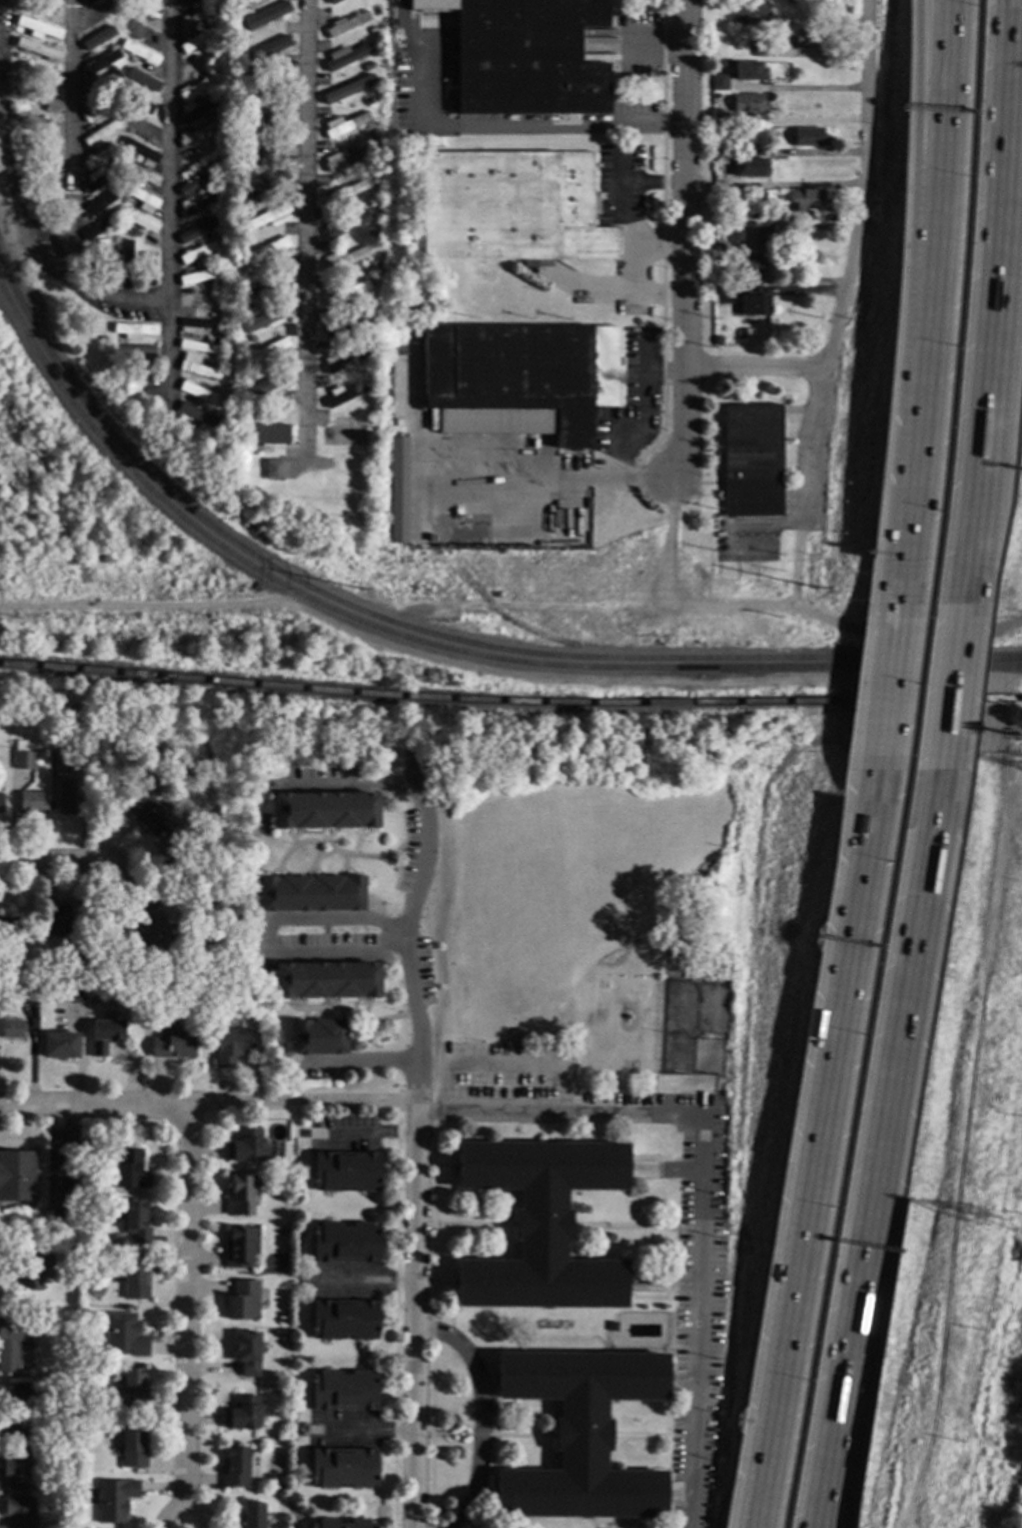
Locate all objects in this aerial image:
building: (111, 0)
building: (152, 0)
building: (243, 0)
building: (88, 1)
building: (186, 2)
building: (207, 2)
building: (331, 2)
building: (367, 2)
building: (791, 2)
building: (245, 5)
building: (39, 6)
building: (748, 8)
building: (125, 9)
building: (143, 11)
building: (101, 14)
building: (265, 16)
building: (114, 18)
building: (196, 18)
road: (1011, 18)
road: (1016, 18)
building: (207, 22)
building: (346, 24)
building: (38, 27)
building: (17, 31)
building: (372, 31)
building: (142, 33)
building: (130, 35)
building: (100, 36)
building: (244, 38)
building: (198, 39)
building: (809, 39)
building: (112, 46)
building: (211, 46)
building: (761, 46)
building: (38, 50)
building: (268, 50)
building: (139, 53)
building: (17, 56)
building: (345, 56)
building: (524, 56)
building: (131, 61)
building: (196, 62)
building: (100, 63)
building: (366, 67)
building: (112, 68)
building: (246, 71)
building: (749, 72)
building: (202, 74)
building: (37, 75)
building: (139, 77)
building: (719, 82)
building: (124, 83)
building: (266, 83)
building: (100, 84)
building: (197, 88)
building: (13, 91)
building: (216, 91)
building: (343, 93)
building: (714, 97)
building: (40, 100)
road: (940, 100)
building: (368, 101)
road: (913, 101)
building: (748, 103)
building: (143, 104)
building: (97, 109)
building: (195, 110)
building: (213, 113)
building: (111, 116)
building: (267, 118)
building: (718, 121)
building: (36, 123)
building: (344, 125)
building: (139, 126)
road: (549, 129)
building: (124, 130)
building: (100, 133)
building: (369, 134)
building: (196, 135)
building: (808, 137)
building: (243, 138)
road: (71, 140)
building: (210, 141)
building: (102, 144)
building: (33, 147)
building: (721, 150)
building: (737, 150)
building: (762, 150)
building: (268, 151)
building: (140, 152)
building: (99, 156)
building: (126, 156)
building: (198, 158)
building: (343, 158)
building: (111, 162)
building: (370, 167)
building: (745, 167)
building: (38, 171)
building: (139, 173)
building: (242, 173)
building: (121, 174)
building: (99, 177)
building: (268, 184)
building: (195, 185)
building: (110, 186)
building: (346, 192)
building: (42, 196)
building: (760, 196)
building: (140, 198)
building: (125, 200)
building: (807, 200)
building: (28, 202)
road: (170, 202)
building: (100, 203)
building: (370, 203)
building: (247, 204)
building: (195, 205)
building: (511, 208)
building: (105, 213)
building: (206, 215)
building: (753, 216)
building: (268, 218)
building: (138, 221)
building: (119, 224)
building: (344, 224)
building: (99, 227)
building: (198, 230)
building: (780, 230)
building: (369, 233)
building: (212, 234)
building: (751, 237)
building: (245, 239)
building: (116, 240)
road: (685, 243)
road: (304, 245)
building: (718, 248)
building: (91, 251)
building: (198, 251)
road: (35, 252)
building: (262, 252)
building: (215, 254)
building: (715, 258)
building: (342, 259)
building: (100, 260)
road: (849, 262)
building: (747, 264)
building: (123, 265)
building: (372, 265)
building: (149, 269)
road: (997, 270)
building: (200, 276)
building: (244, 276)
road: (927, 276)
building: (263, 284)
building: (343, 293)
building: (722, 296)
building: (196, 301)
building: (371, 301)
building: (364, 305)
building: (754, 306)
building: (266, 316)
building: (199, 325)
building: (342, 326)
building: (133, 330)
building: (367, 337)
building: (250, 338)
building: (716, 341)
building: (119, 342)
building: (198, 344)
building: (138, 351)
building: (264, 351)
building: (214, 360)
building: (344, 360)
road: (754, 369)
building: (197, 370)
building: (362, 374)
building: (519, 379)
building: (266, 386)
building: (196, 391)
building: (345, 395)
building: (224, 400)
road: (643, 408)
building: (252, 412)
building: (200, 415)
building: (226, 420)
building: (266, 434)
building: (750, 461)
building: (272, 470)
road: (578, 478)
road: (907, 478)
road: (641, 480)
building: (398, 490)
railway: (441, 544)
road: (666, 549)
road: (968, 554)
road: (797, 563)
power tower: (360, 592)
power tower: (816, 592)
road: (515, 606)
railway: (432, 637)
railway: (437, 647)
road: (884, 687)
road: (949, 688)
railway: (510, 702)
building: (22, 756)
building: (160, 756)
building: (143, 774)
road: (353, 786)
building: (68, 799)
building: (30, 802)
building: (0, 803)
building: (324, 810)
building: (148, 814)
road: (51, 861)
building: (310, 893)
building: (56, 921)
building: (143, 922)
building: (7, 927)
road: (265, 935)
road: (408, 943)
building: (72, 951)
building: (325, 980)
building: (25, 993)
building: (73, 995)
building: (212, 998)
building: (10, 1029)
building: (104, 1036)
building: (318, 1037)
building: (172, 1045)
building: (232, 1045)
building: (58, 1046)
road: (358, 1063)
road: (499, 1068)
road: (891, 1071)
road: (207, 1106)
road: (370, 1135)
building: (245, 1147)
road: (816, 1149)
road: (56, 1157)
building: (128, 1170)
building: (345, 1172)
building: (16, 1176)
road: (703, 1177)
building: (238, 1196)
power tower: (975, 1218)
building: (92, 1219)
building: (134, 1222)
building: (539, 1225)
power tower: (1021, 1228)
building: (90, 1237)
building: (344, 1243)
building: (240, 1247)
building: (33, 1270)
building: (134, 1280)
road: (363, 1282)
building: (242, 1301)
road: (185, 1307)
building: (92, 1313)
road: (414, 1316)
building: (343, 1320)
building: (281, 1321)
building: (611, 1326)
building: (123, 1335)
building: (11, 1343)
building: (247, 1353)
building: (132, 1389)
building: (343, 1391)
building: (275, 1394)
building: (21, 1412)
building: (242, 1413)
road: (480, 1414)
road: (368, 1432)
building: (579, 1435)
building: (132, 1447)
building: (270, 1448)
road: (829, 1450)
road: (846, 1450)
building: (69, 1462)
building: (13, 1468)
building: (234, 1468)
building: (342, 1468)
building: (60, 1486)
building: (276, 1489)
building: (114, 1499)
road: (183, 1507)
building: (18, 1511)
building: (51, 1514)
building: (87, 1514)
building: (252, 1515)
building: (341, 1524)

